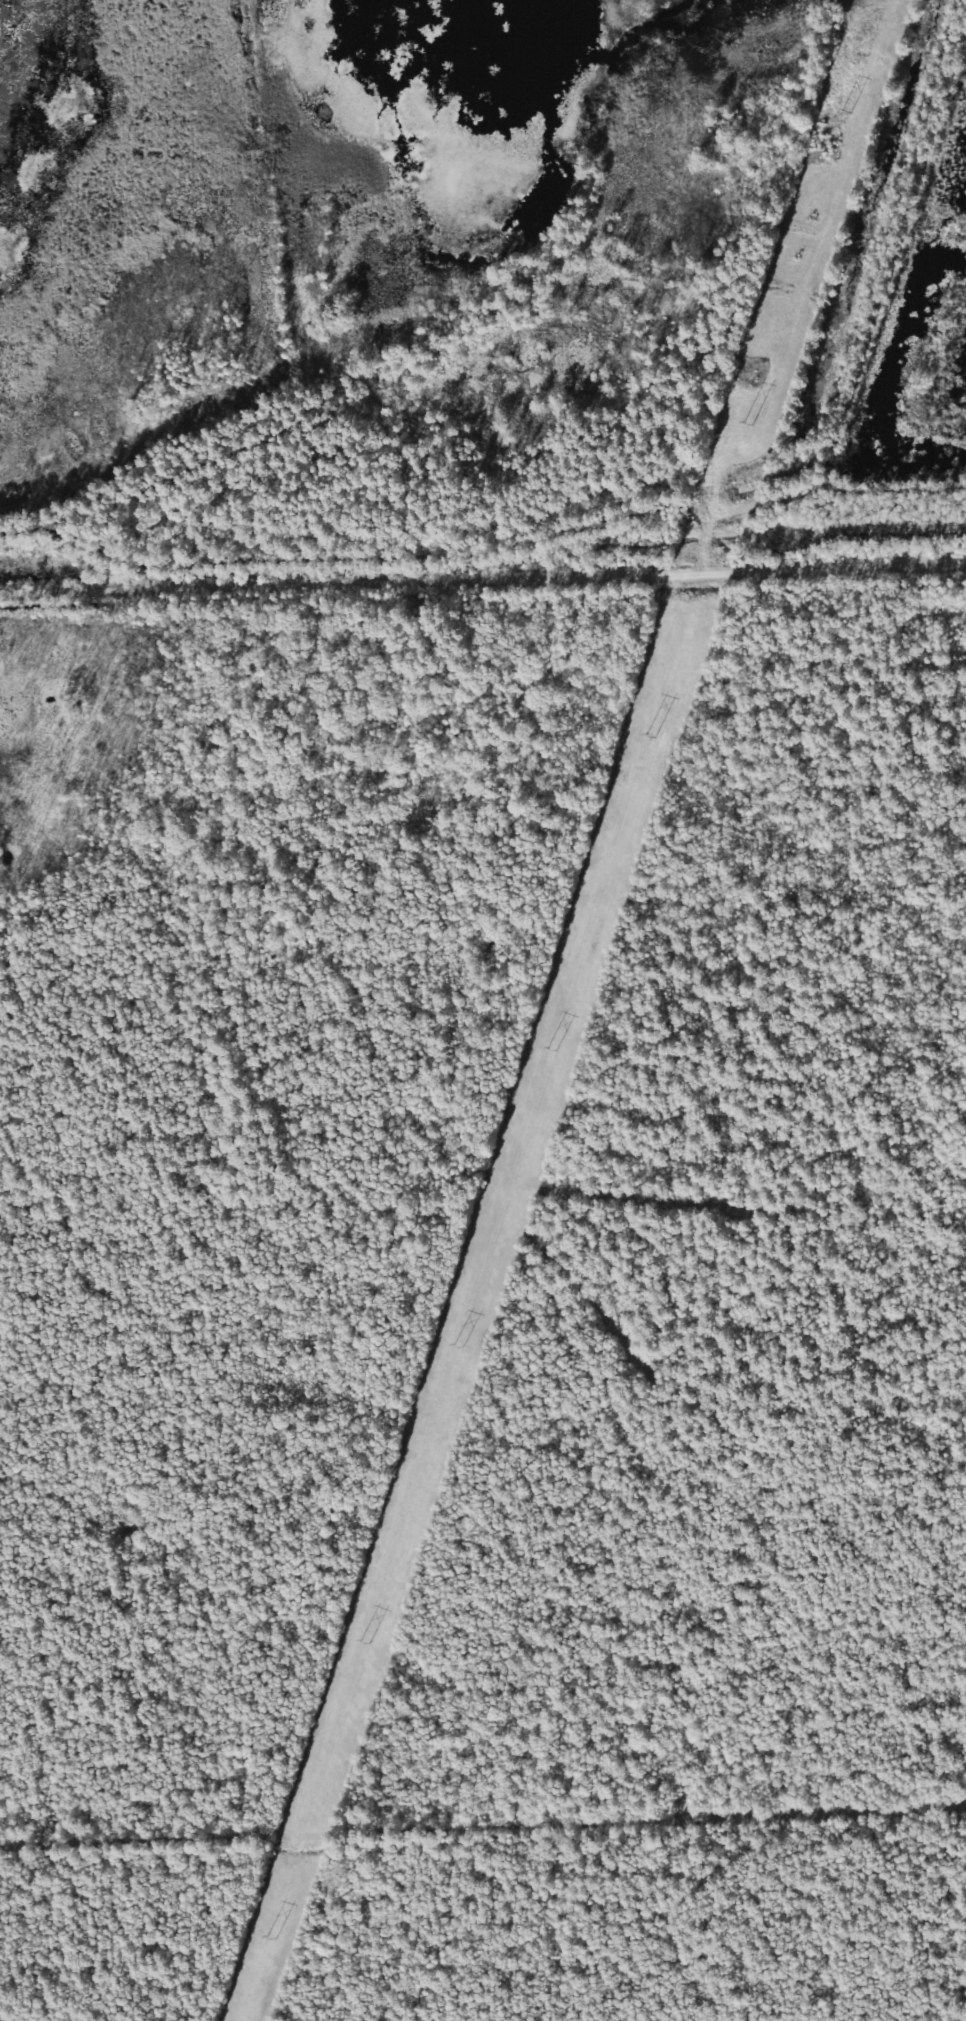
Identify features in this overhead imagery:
road: (483, 595)

